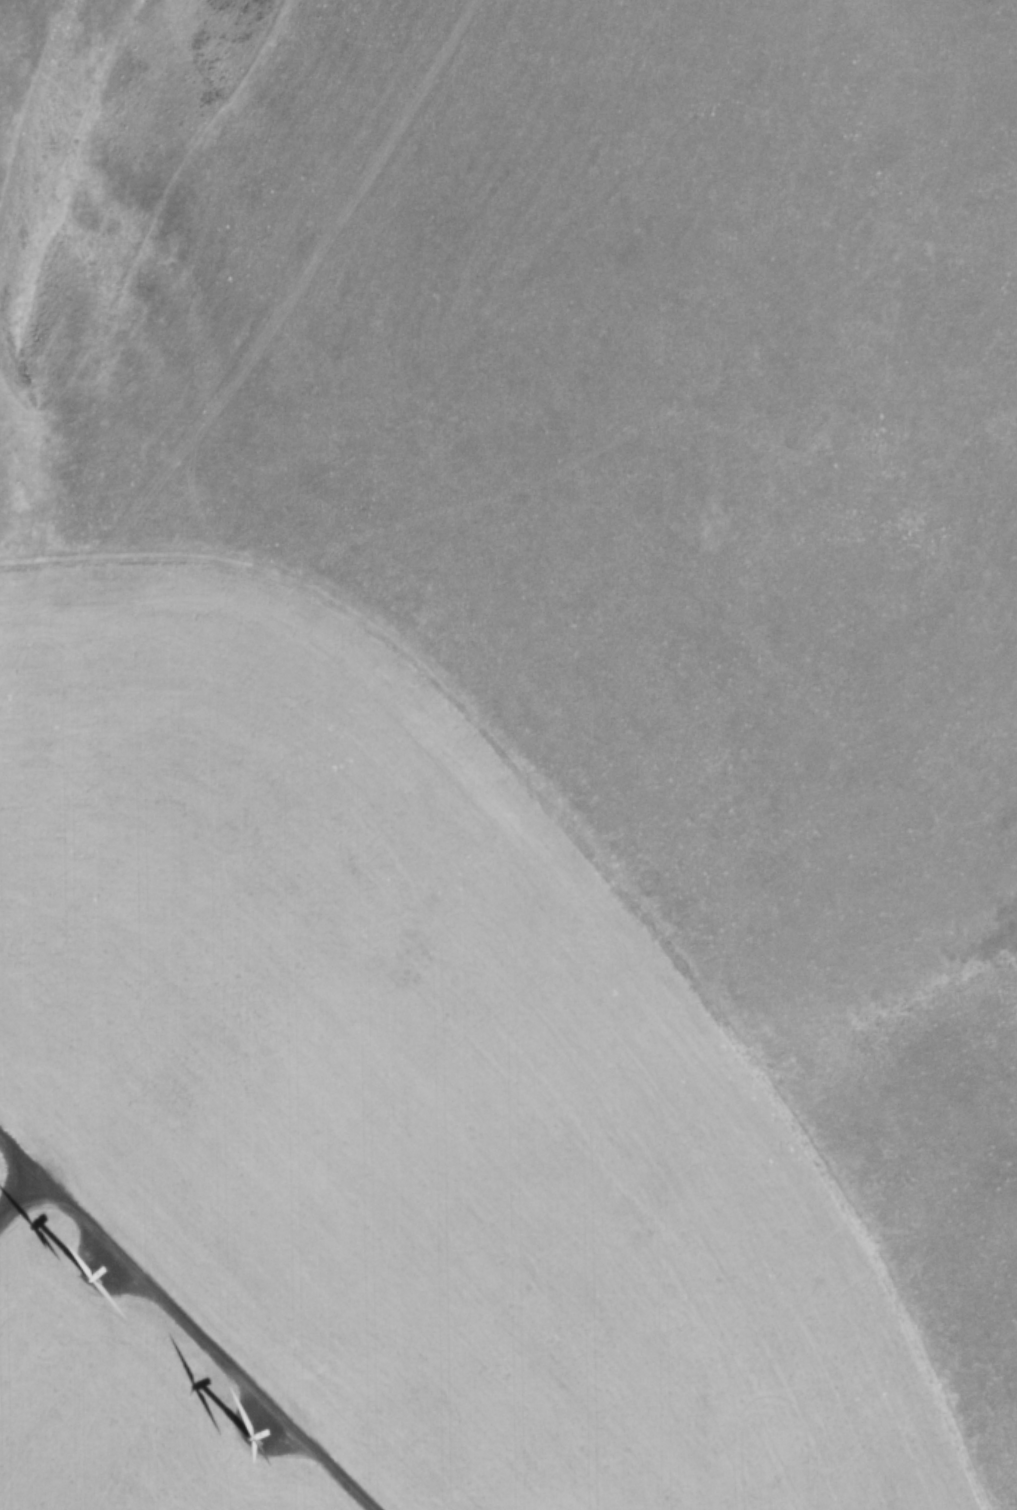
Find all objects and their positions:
road: (16, 1197)
wind turbine: (93, 1288)
road: (189, 1323)
wind turbine: (254, 1440)

